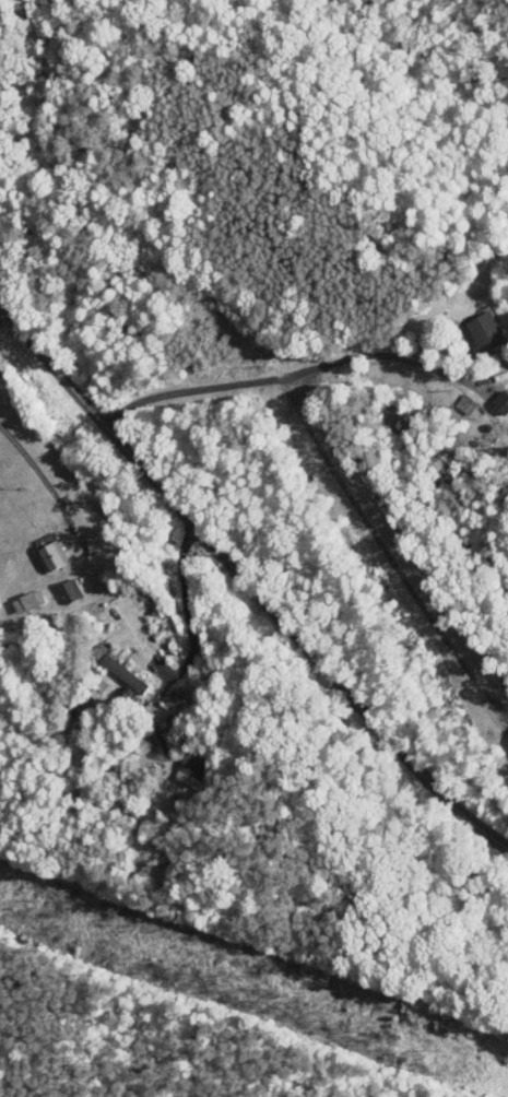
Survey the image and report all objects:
road: (298, 371)
road: (83, 536)
road: (249, 586)

